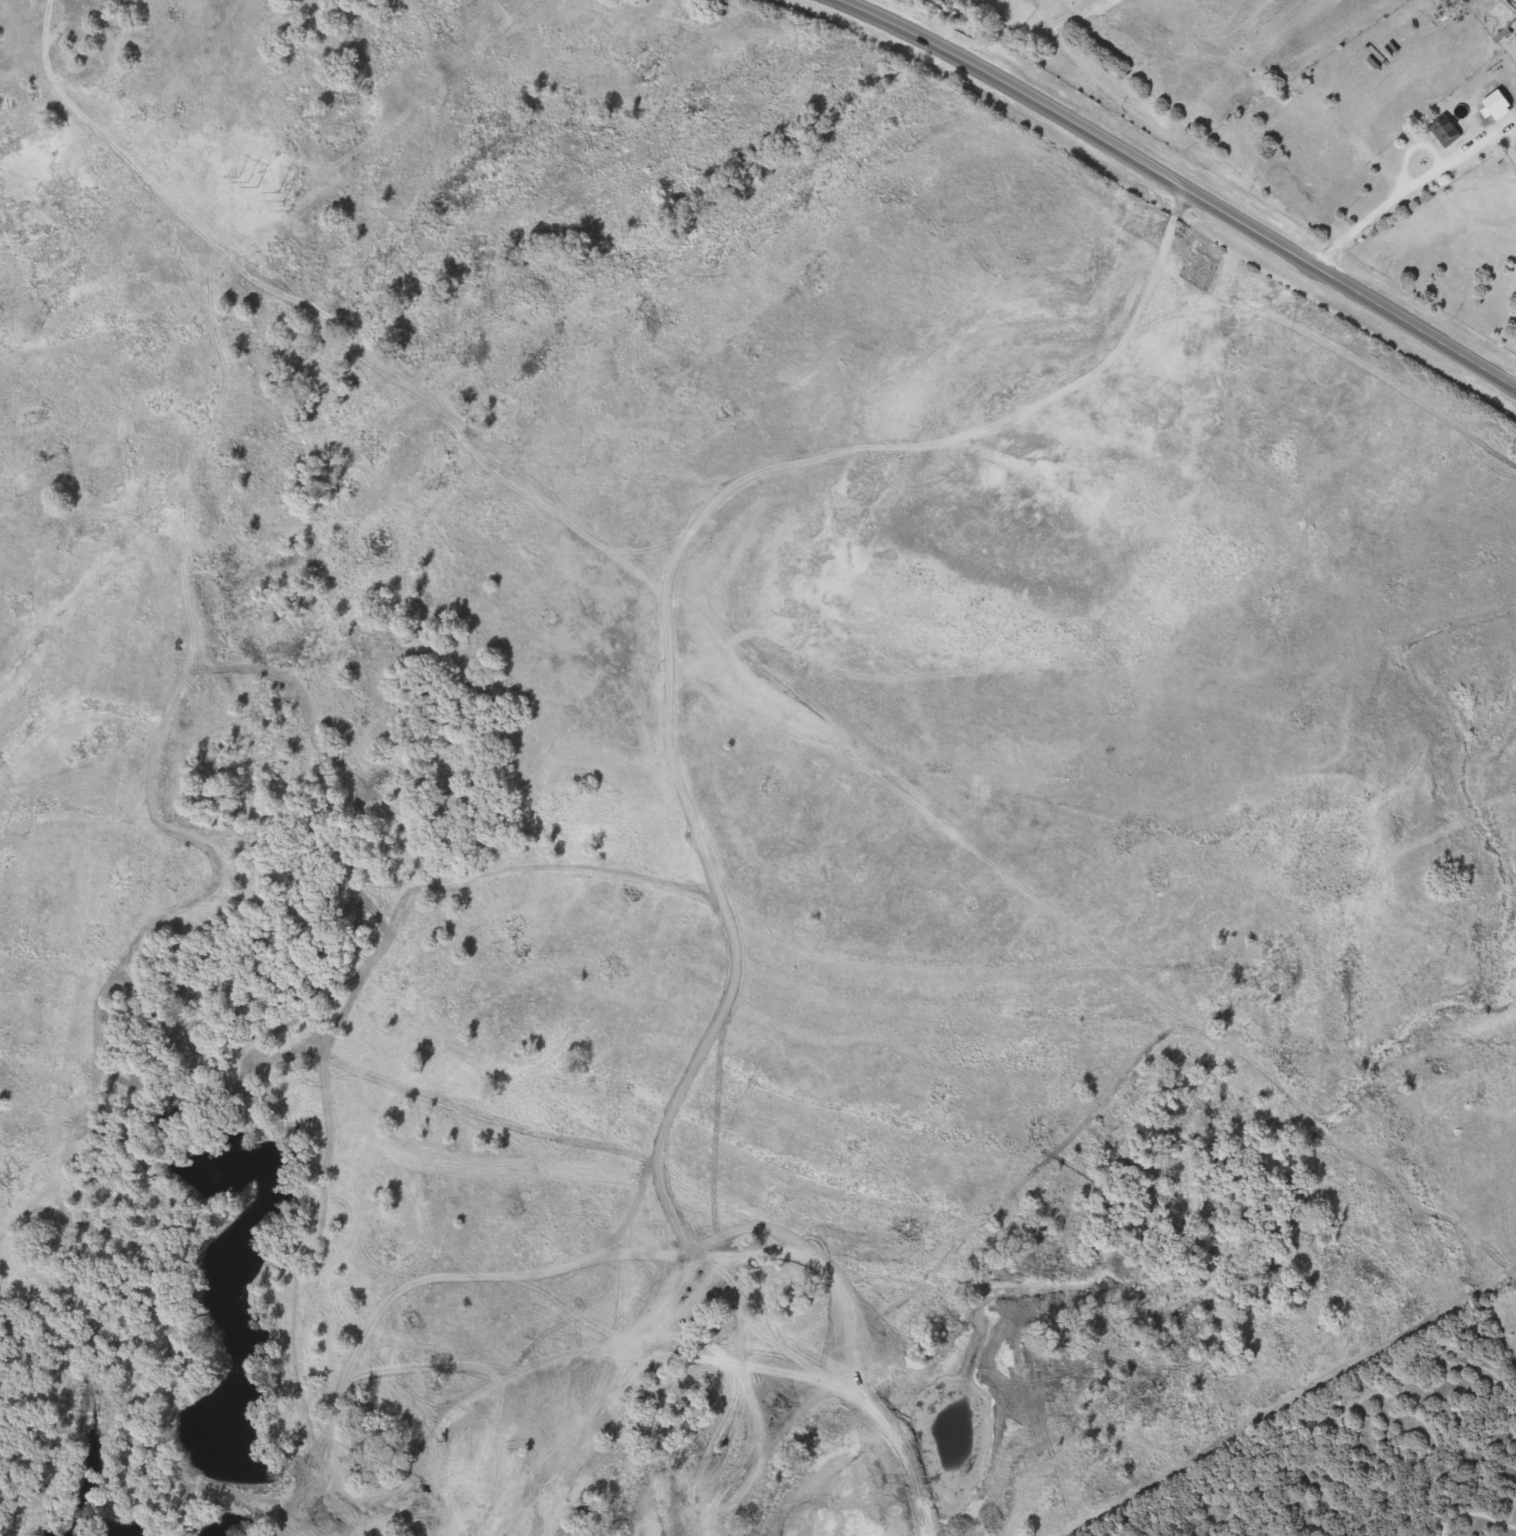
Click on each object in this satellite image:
road: (46, 59)
building: (1490, 111)
building: (1442, 132)
road: (1455, 156)
road: (1172, 188)
road: (1390, 203)
road: (1515, 397)

